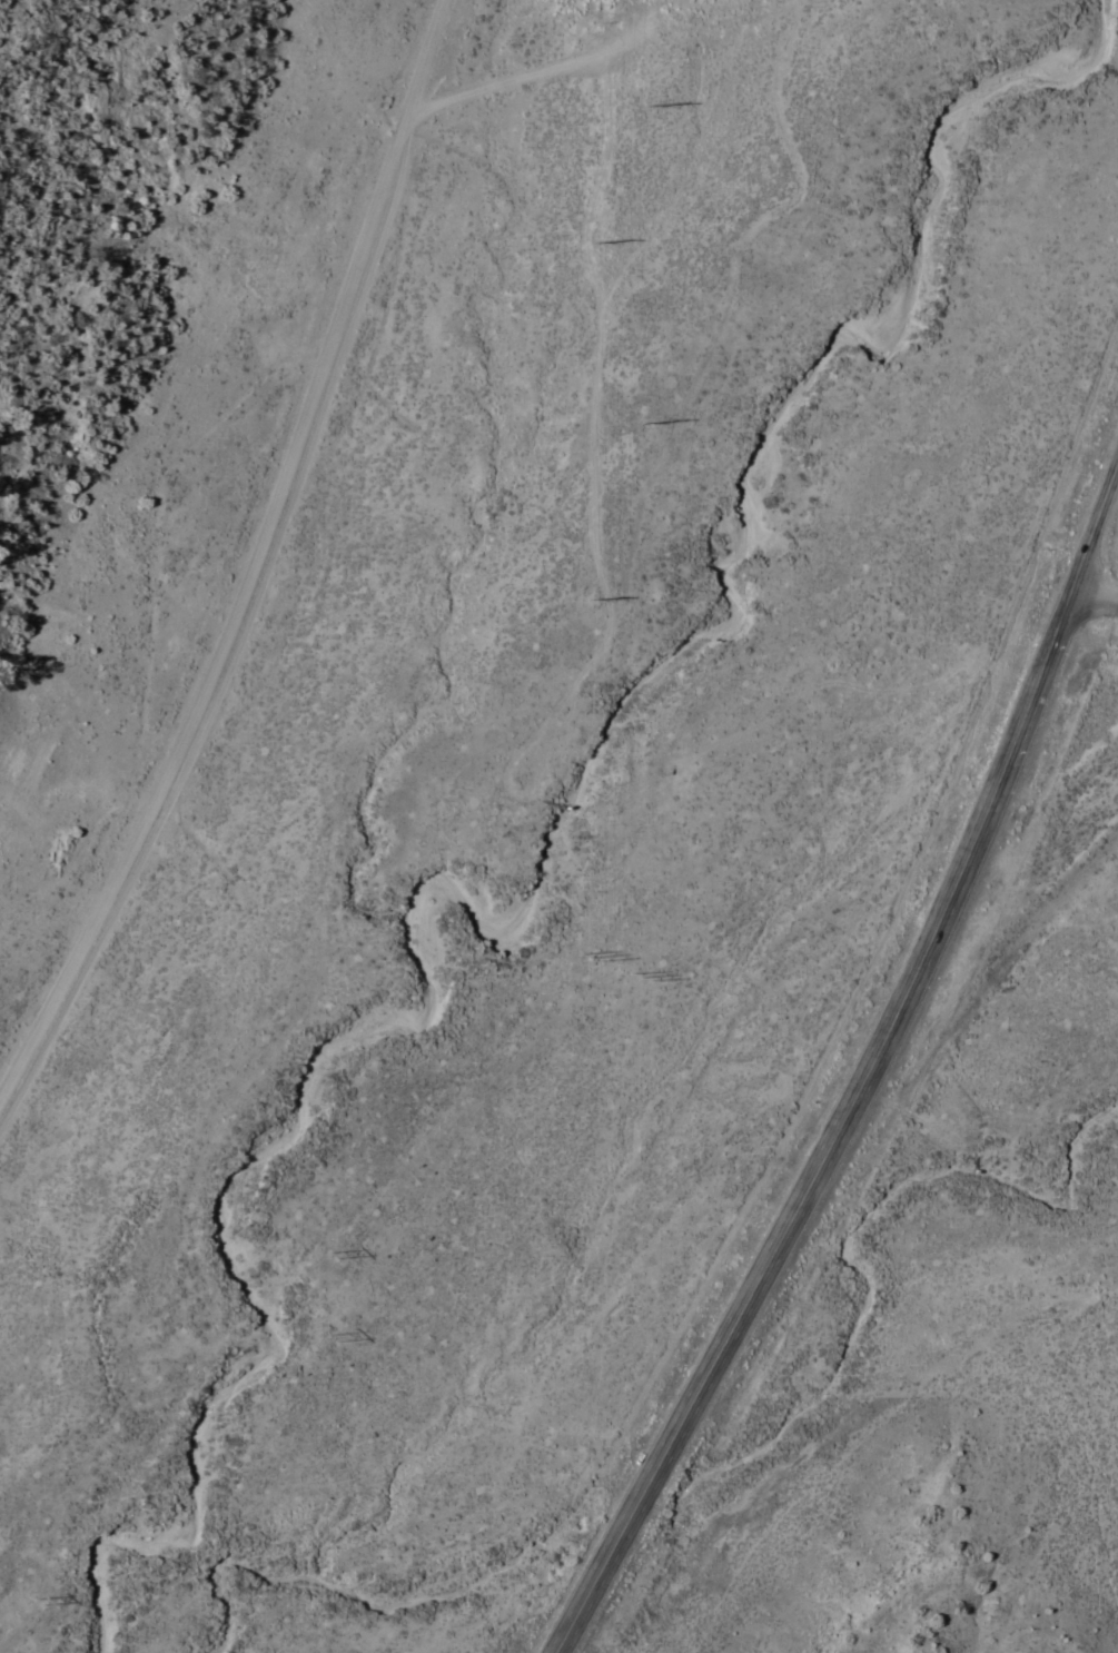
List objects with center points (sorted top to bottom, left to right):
road: (10, 313)
road: (1096, 523)
road: (263, 572)
road: (1096, 591)
road: (961, 852)
road: (704, 1386)

